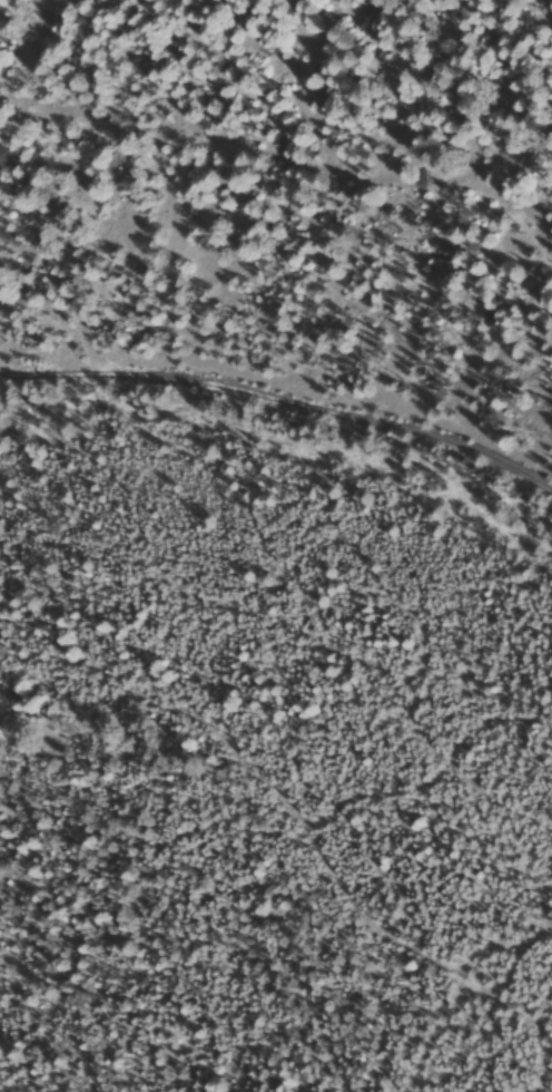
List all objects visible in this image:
road: (278, 205)
road: (286, 359)

